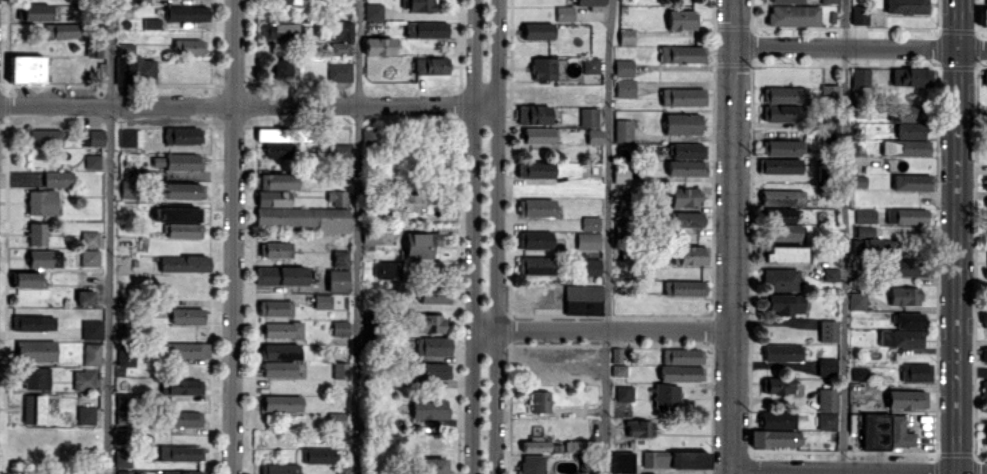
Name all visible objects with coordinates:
building: (786, 1)
building: (829, 1)
building: (288, 2)
building: (986, 2)
building: (591, 4)
building: (420, 5)
building: (906, 6)
building: (36, 11)
building: (372, 11)
building: (185, 13)
building: (564, 13)
building: (858, 14)
building: (793, 15)
building: (983, 17)
building: (680, 19)
building: (151, 23)
building: (426, 29)
building: (61, 30)
building: (537, 30)
building: (626, 36)
building: (341, 38)
building: (188, 46)
building: (378, 46)
road: (860, 47)
building: (682, 54)
building: (430, 65)
building: (590, 65)
building: (280, 67)
building: (623, 67)
building: (26, 68)
building: (543, 68)
building: (139, 69)
building: (339, 71)
building: (907, 76)
building: (859, 77)
building: (624, 88)
building: (829, 91)
building: (786, 94)
building: (682, 96)
road: (251, 106)
building: (780, 112)
building: (909, 113)
building: (534, 114)
building: (588, 117)
building: (682, 123)
building: (831, 128)
building: (623, 129)
building: (910, 130)
building: (271, 134)
building: (181, 135)
building: (539, 135)
building: (594, 136)
building: (44, 137)
building: (91, 137)
building: (130, 137)
building: (780, 147)
building: (905, 147)
building: (276, 150)
building: (340, 150)
building: (92, 160)
building: (179, 161)
building: (780, 165)
building: (686, 167)
building: (534, 169)
building: (339, 170)
building: (620, 175)
building: (58, 178)
building: (858, 180)
building: (277, 181)
building: (911, 182)
building: (985, 183)
building: (129, 188)
building: (182, 190)
building: (683, 196)
building: (336, 197)
building: (782, 197)
building: (271, 198)
building: (41, 202)
building: (410, 202)
building: (535, 207)
building: (781, 214)
building: (864, 215)
building: (906, 215)
building: (301, 217)
building: (687, 218)
building: (180, 221)
building: (590, 222)
building: (782, 231)
building: (36, 233)
building: (370, 235)
road: (357, 236)
road: (468, 236)
road: (607, 236)
road: (110, 237)
road: (234, 237)
road: (502, 237)
road: (732, 237)
road: (845, 237)
road: (954, 237)
building: (89, 238)
building: (534, 239)
building: (865, 240)
building: (587, 241)
building: (421, 244)
building: (275, 249)
building: (782, 254)
building: (689, 255)
building: (89, 257)
building: (44, 258)
building: (339, 258)
building: (183, 264)
building: (534, 265)
building: (588, 265)
building: (904, 267)
building: (386, 269)
building: (281, 275)
building: (830, 275)
building: (25, 279)
building: (780, 279)
building: (337, 280)
building: (682, 287)
building: (434, 295)
building: (904, 295)
building: (84, 297)
building: (583, 297)
building: (322, 301)
building: (857, 301)
building: (784, 304)
building: (274, 307)
building: (186, 315)
building: (909, 319)
building: (33, 322)
building: (429, 323)
building: (339, 328)
building: (91, 329)
building: (282, 329)
road: (599, 330)
building: (827, 330)
building: (900, 338)
building: (433, 345)
building: (35, 350)
building: (184, 350)
building: (279, 350)
building: (782, 352)
building: (91, 354)
building: (984, 354)
building: (125, 355)
building: (682, 355)
building: (617, 362)
building: (826, 367)
building: (278, 369)
building: (340, 369)
building: (430, 372)
building: (681, 372)
building: (859, 372)
building: (915, 372)
building: (35, 377)
building: (84, 379)
building: (777, 385)
building: (180, 386)
building: (984, 388)
building: (665, 395)
building: (906, 399)
building: (623, 400)
building: (539, 401)
building: (281, 402)
building: (33, 408)
building: (123, 408)
building: (428, 408)
building: (827, 408)
building: (85, 414)
building: (183, 418)
building: (334, 419)
building: (777, 419)
building: (639, 427)
building: (885, 431)
building: (985, 434)
building: (775, 438)
building: (534, 441)
building: (576, 445)
building: (180, 453)
building: (316, 455)
building: (122, 458)
building: (674, 459)
building: (623, 462)
building: (532, 464)
building: (428, 465)
building: (279, 468)
road: (858, 469)
building: (342, 470)
building: (128, 472)
building: (181, 472)

